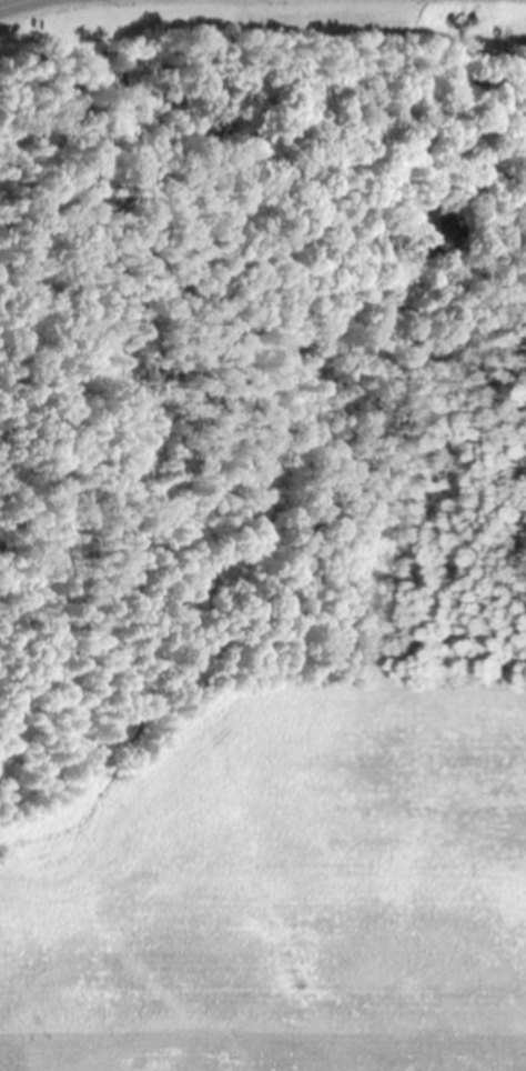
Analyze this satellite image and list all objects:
road: (12, 4)

